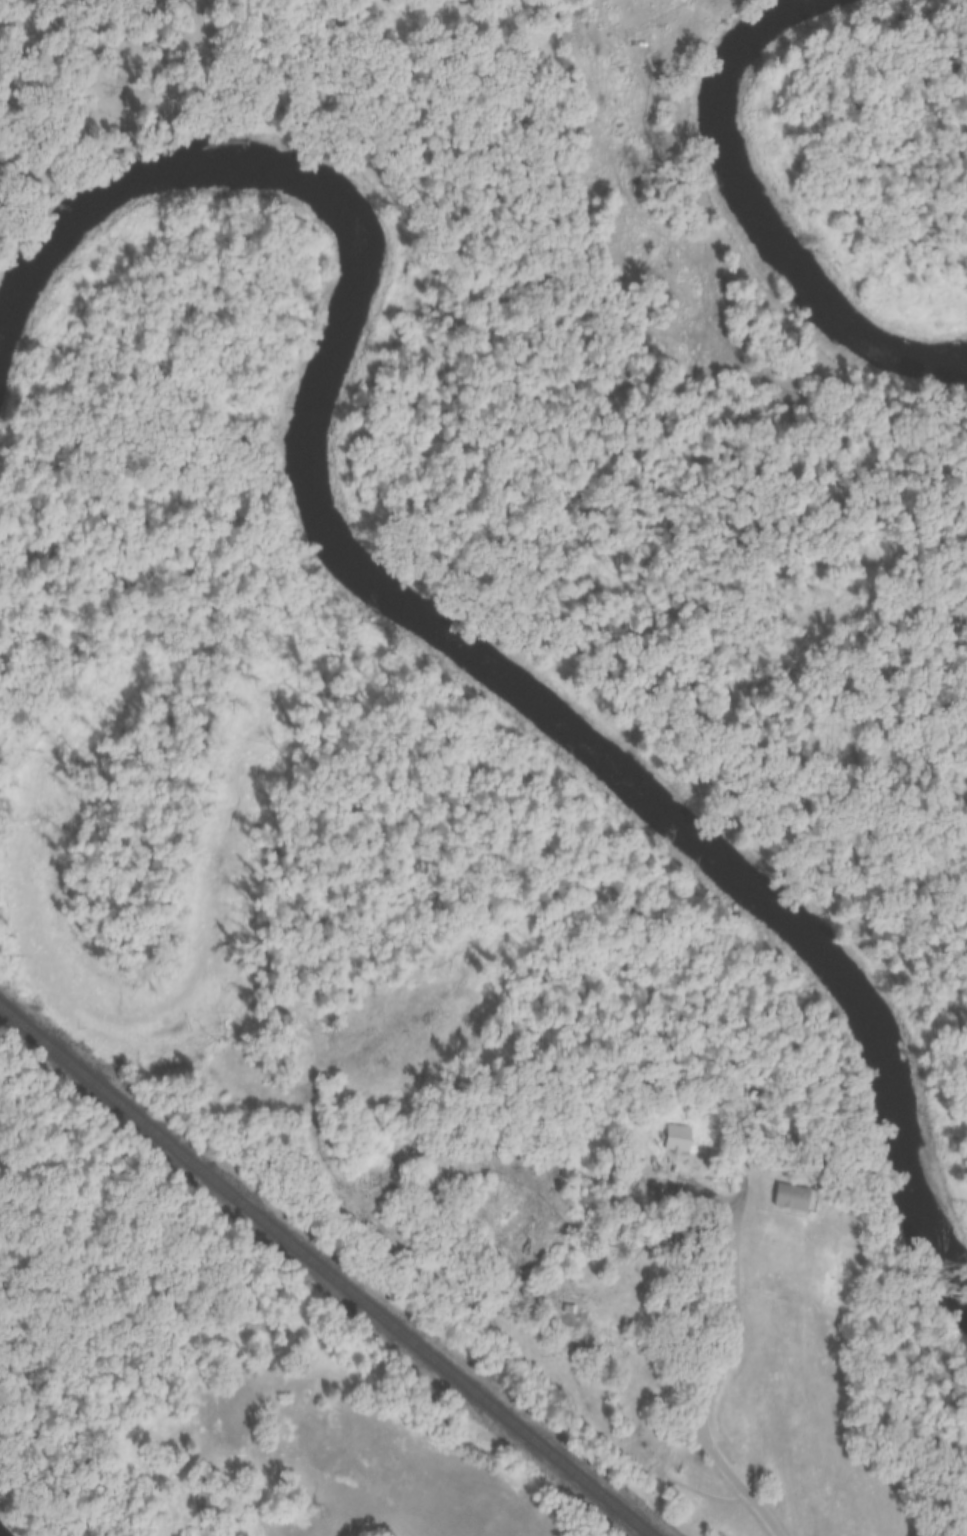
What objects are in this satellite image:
river: (754, 217)
river: (417, 615)
building: (676, 1138)
railway: (324, 1271)
road: (736, 1334)
building: (240, 1408)
road: (204, 1472)
building: (266, 1527)

